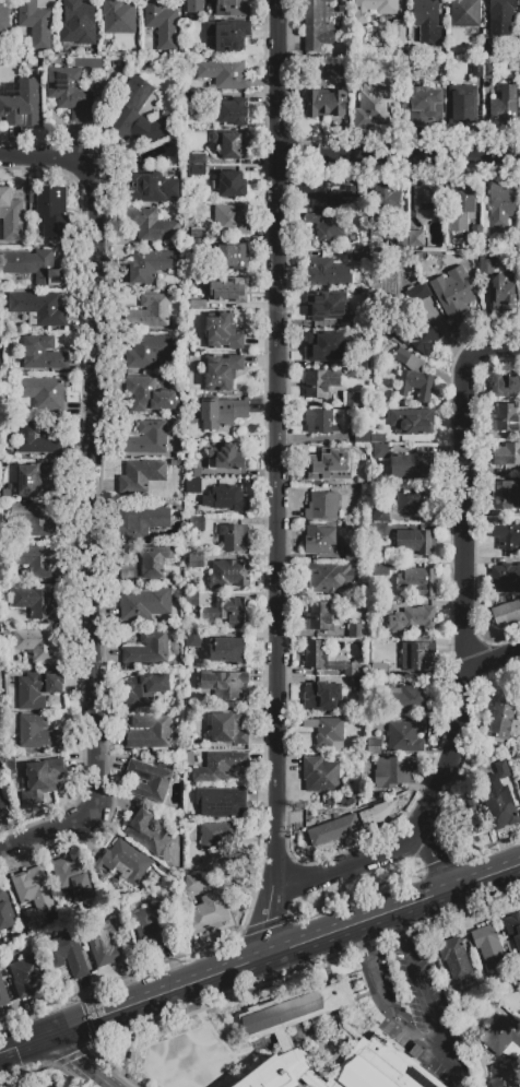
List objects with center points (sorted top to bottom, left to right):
building: (194, 7)
building: (234, 8)
building: (374, 8)
building: (501, 11)
building: (465, 13)
building: (3, 15)
building: (118, 16)
building: (427, 21)
building: (162, 22)
building: (35, 23)
building: (78, 24)
building: (316, 25)
building: (399, 32)
building: (228, 36)
building: (487, 48)
building: (320, 70)
building: (476, 70)
building: (487, 70)
building: (225, 74)
building: (69, 92)
building: (20, 104)
building: (324, 104)
building: (461, 105)
building: (424, 107)
building: (505, 107)
building: (371, 108)
building: (233, 113)
building: (135, 114)
road: (335, 137)
building: (232, 144)
street lamp: (261, 147)
road: (399, 153)
building: (198, 158)
building: (194, 170)
building: (153, 185)
building: (231, 185)
building: (329, 196)
building: (386, 196)
building: (427, 199)
building: (460, 205)
building: (500, 205)
building: (52, 212)
building: (13, 217)
building: (231, 221)
building: (152, 225)
building: (327, 228)
building: (476, 231)
building: (416, 239)
building: (403, 240)
building: (198, 245)
building: (233, 257)
building: (361, 259)
building: (485, 265)
building: (147, 267)
building: (35, 268)
building: (328, 272)
building: (453, 292)
building: (417, 293)
building: (225, 294)
building: (503, 296)
building: (318, 306)
building: (38, 308)
building: (149, 311)
building: (359, 322)
building: (223, 332)
building: (422, 339)
building: (199, 342)
street lamp: (466, 342)
building: (324, 347)
building: (147, 351)
building: (43, 354)
building: (197, 357)
building: (222, 373)
building: (413, 377)
building: (320, 383)
building: (505, 386)
building: (42, 392)
building: (150, 395)
building: (352, 400)
building: (222, 412)
building: (505, 418)
building: (323, 421)
building: (412, 422)
building: (37, 436)
building: (149, 438)
building: (361, 438)
building: (377, 438)
building: (380, 451)
building: (506, 454)
building: (227, 457)
building: (321, 462)
building: (175, 463)
building: (409, 465)
road: (258, 469)
building: (193, 471)
building: (141, 474)
road: (275, 480)
building: (38, 482)
building: (193, 486)
road: (92, 488)
building: (506, 495)
building: (225, 499)
building: (409, 501)
building: (322, 506)
road: (465, 508)
building: (380, 513)
building: (32, 520)
street lamp: (447, 521)
building: (140, 522)
building: (196, 523)
building: (376, 530)
building: (506, 536)
building: (234, 537)
building: (319, 539)
building: (416, 541)
building: (352, 554)
building: (38, 560)
building: (196, 560)
building: (145, 563)
building: (383, 568)
road: (456, 570)
building: (229, 575)
building: (329, 577)
building: (505, 577)
building: (418, 581)
building: (190, 599)
building: (36, 603)
building: (145, 603)
building: (385, 606)
building: (229, 612)
building: (506, 614)
building: (319, 617)
building: (413, 619)
building: (358, 630)
building: (193, 639)
street lamp: (488, 640)
building: (38, 645)
building: (149, 649)
building: (227, 651)
building: (418, 655)
building: (324, 660)
road: (487, 660)
building: (379, 670)
building: (225, 684)
building: (361, 685)
building: (37, 689)
building: (381, 689)
building: (144, 690)
building: (321, 697)
building: (412, 699)
building: (500, 722)
street lamp: (261, 729)
building: (228, 730)
building: (328, 732)
building: (150, 733)
building: (37, 734)
building: (405, 737)
road: (281, 739)
building: (374, 747)
building: (220, 766)
building: (503, 769)
building: (393, 771)
building: (320, 775)
building: (42, 780)
building: (150, 780)
road: (448, 792)
building: (345, 801)
building: (222, 802)
building: (2, 805)
building: (499, 808)
building: (377, 815)
building: (473, 819)
building: (336, 829)
building: (147, 831)
building: (218, 834)
street lamp: (300, 861)
building: (125, 862)
road: (345, 862)
road: (435, 863)
road: (426, 865)
building: (74, 877)
building: (193, 883)
building: (34, 890)
street lamp: (367, 894)
road: (344, 895)
building: (4, 912)
building: (206, 914)
road: (258, 925)
building: (151, 928)
road: (401, 928)
building: (513, 930)
road: (361, 941)
building: (105, 944)
building: (488, 947)
building: (67, 955)
road: (260, 959)
building: (456, 959)
building: (518, 972)
building: (26, 977)
street lamp: (264, 984)
building: (3, 994)
parking lot: (417, 1012)
road: (434, 1017)
road: (393, 1023)
building: (264, 1032)
traffic signals: (55, 1035)
building: (503, 1038)
road: (86, 1061)
road: (22, 1063)
building: (504, 1077)

